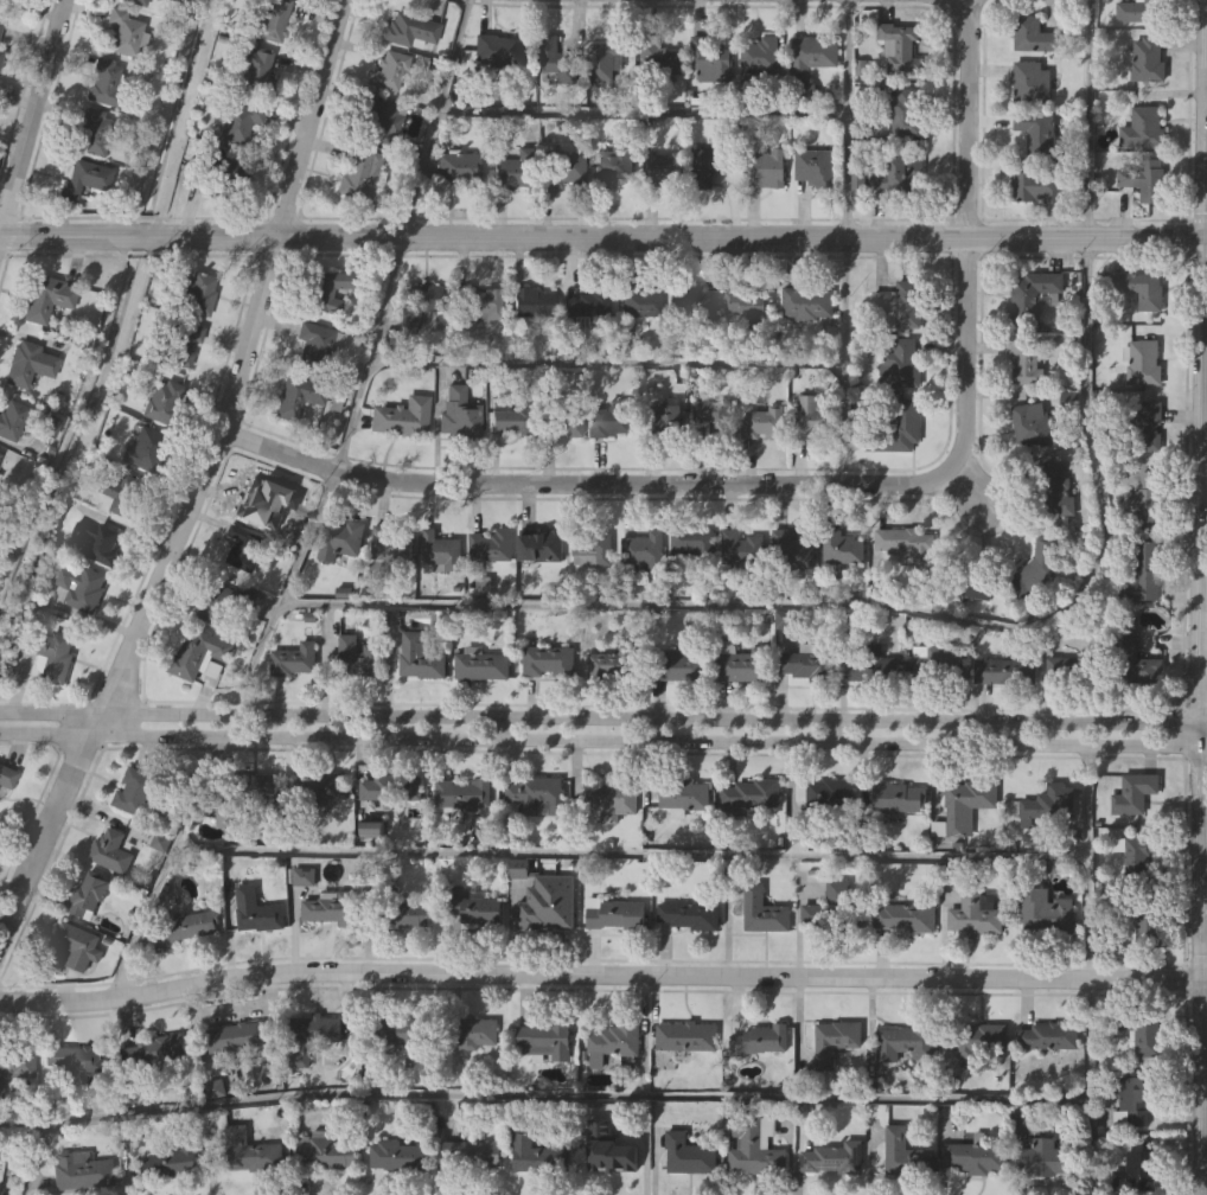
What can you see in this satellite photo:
building: (13, 0)
building: (138, 1)
road: (956, 1)
building: (1139, 11)
building: (268, 19)
building: (0, 24)
building: (408, 30)
building: (122, 32)
building: (1033, 33)
building: (898, 46)
building: (498, 52)
building: (1, 55)
building: (811, 55)
road: (1203, 56)
building: (607, 57)
building: (556, 58)
building: (658, 59)
building: (756, 59)
building: (710, 60)
building: (1144, 60)
building: (388, 69)
building: (257, 70)
building: (103, 82)
building: (1030, 83)
building: (903, 109)
road: (641, 111)
road: (434, 117)
building: (235, 119)
building: (382, 119)
road: (847, 119)
road: (1086, 119)
road: (33, 120)
building: (1035, 129)
building: (1142, 129)
building: (90, 132)
road: (12, 148)
building: (613, 164)
building: (711, 164)
building: (764, 166)
building: (222, 167)
building: (563, 167)
building: (665, 167)
building: (813, 167)
building: (459, 168)
building: (513, 168)
building: (359, 174)
road: (1203, 174)
building: (84, 178)
building: (893, 179)
building: (1144, 181)
building: (1036, 186)
building: (858, 187)
road: (967, 232)
road: (602, 236)
building: (333, 287)
building: (1141, 288)
building: (197, 290)
building: (1034, 294)
building: (49, 296)
building: (694, 300)
building: (752, 300)
building: (421, 301)
building: (480, 301)
building: (532, 301)
building: (641, 301)
building: (807, 301)
building: (901, 302)
building: (588, 306)
building: (318, 341)
building: (181, 343)
road: (368, 352)
road: (243, 360)
road: (843, 360)
building: (1027, 360)
building: (1144, 360)
building: (30, 362)
road: (603, 362)
building: (903, 362)
building: (299, 396)
building: (164, 400)
building: (460, 410)
building: (711, 411)
building: (402, 416)
building: (815, 416)
building: (612, 417)
building: (13, 420)
building: (511, 420)
building: (663, 420)
road: (1201, 420)
building: (563, 421)
building: (765, 421)
building: (47, 422)
building: (1033, 423)
building: (898, 427)
building: (1147, 427)
road: (1090, 443)
building: (146, 448)
building: (0, 453)
road: (587, 484)
building: (1055, 491)
building: (123, 492)
building: (1148, 498)
building: (262, 499)
building: (344, 535)
building: (694, 541)
building: (98, 542)
building: (906, 542)
building: (390, 544)
building: (492, 544)
building: (594, 544)
building: (244, 547)
building: (541, 547)
building: (742, 547)
building: (843, 547)
building: (440, 549)
building: (646, 550)
building: (793, 550)
building: (1036, 567)
building: (1143, 573)
building: (967, 584)
building: (82, 586)
road: (282, 588)
building: (222, 602)
road: (660, 605)
building: (51, 650)
building: (198, 653)
building: (359, 654)
building: (422, 654)
building: (294, 658)
building: (1133, 658)
building: (549, 660)
building: (937, 662)
building: (483, 663)
building: (742, 663)
building: (810, 663)
road: (1198, 663)
building: (612, 664)
building: (873, 664)
building: (677, 665)
building: (1081, 665)
building: (1007, 670)
road: (598, 715)
road: (1202, 723)
road: (503, 728)
road: (835, 731)
road: (1198, 735)
road: (598, 742)
road: (1202, 747)
building: (7, 777)
building: (318, 787)
building: (391, 787)
building: (135, 790)
building: (464, 792)
building: (538, 793)
building: (684, 794)
building: (751, 794)
building: (1133, 794)
building: (898, 795)
building: (244, 797)
building: (615, 798)
building: (826, 799)
road: (1199, 800)
building: (965, 805)
building: (1047, 805)
road: (50, 822)
building: (111, 849)
road: (631, 855)
building: (1138, 857)
road: (1086, 863)
road: (166, 869)
building: (304, 875)
building: (89, 892)
building: (548, 901)
building: (475, 905)
building: (336, 906)
building: (402, 908)
building: (257, 909)
building: (834, 910)
building: (976, 910)
building: (1042, 910)
building: (614, 912)
building: (689, 913)
building: (764, 913)
building: (905, 916)
road: (1202, 916)
building: (1137, 920)
building: (186, 925)
building: (76, 945)
road: (601, 973)
road: (1206, 982)
building: (398, 1028)
building: (1139, 1028)
building: (473, 1029)
building: (686, 1034)
road: (1203, 1034)
building: (238, 1035)
building: (313, 1035)
road: (645, 1036)
building: (977, 1036)
building: (1048, 1036)
building: (613, 1040)
building: (759, 1040)
building: (836, 1040)
building: (545, 1041)
building: (907, 1041)
building: (158, 1049)
building: (76, 1059)
building: (15, 1063)
road: (1087, 1087)
road: (542, 1095)
building: (1137, 1097)
building: (1024, 1124)
road: (1201, 1140)
building: (251, 1149)
building: (324, 1149)
building: (608, 1150)
building: (752, 1150)
building: (474, 1151)
building: (536, 1152)
building: (903, 1152)
building: (396, 1154)
building: (688, 1154)
building: (5, 1155)
building: (976, 1157)
road: (39, 1158)
building: (1047, 1158)
building: (832, 1159)
building: (170, 1161)
building: (83, 1169)
building: (1137, 1171)

